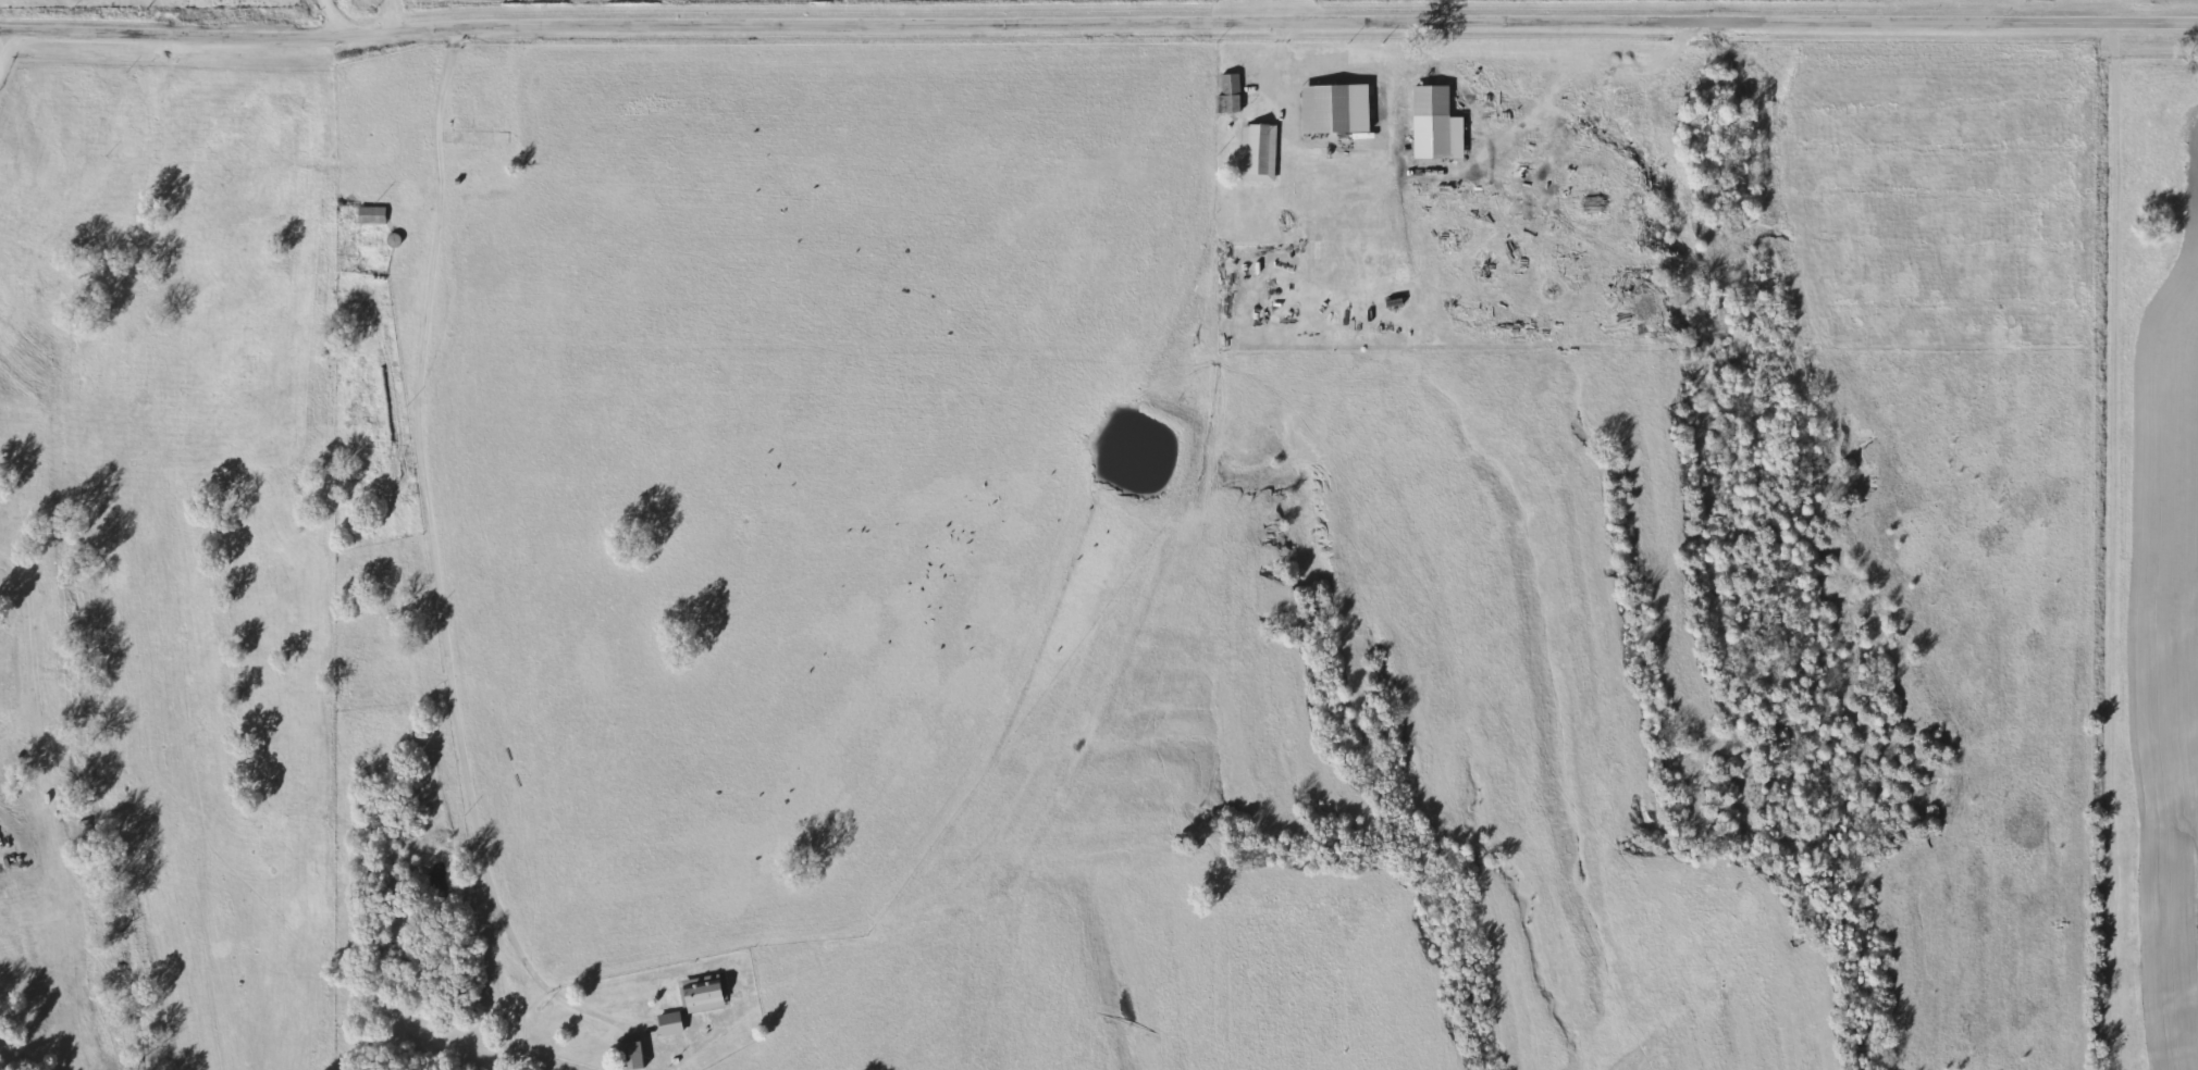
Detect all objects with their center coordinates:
road: (2124, 11)
road: (393, 15)
road: (333, 18)
road: (1061, 22)
road: (2161, 23)
road: (5, 54)
building: (1231, 94)
building: (1424, 101)
building: (1328, 109)
building: (1259, 152)
road: (439, 578)
building: (704, 995)
building: (670, 1023)
building: (633, 1056)

